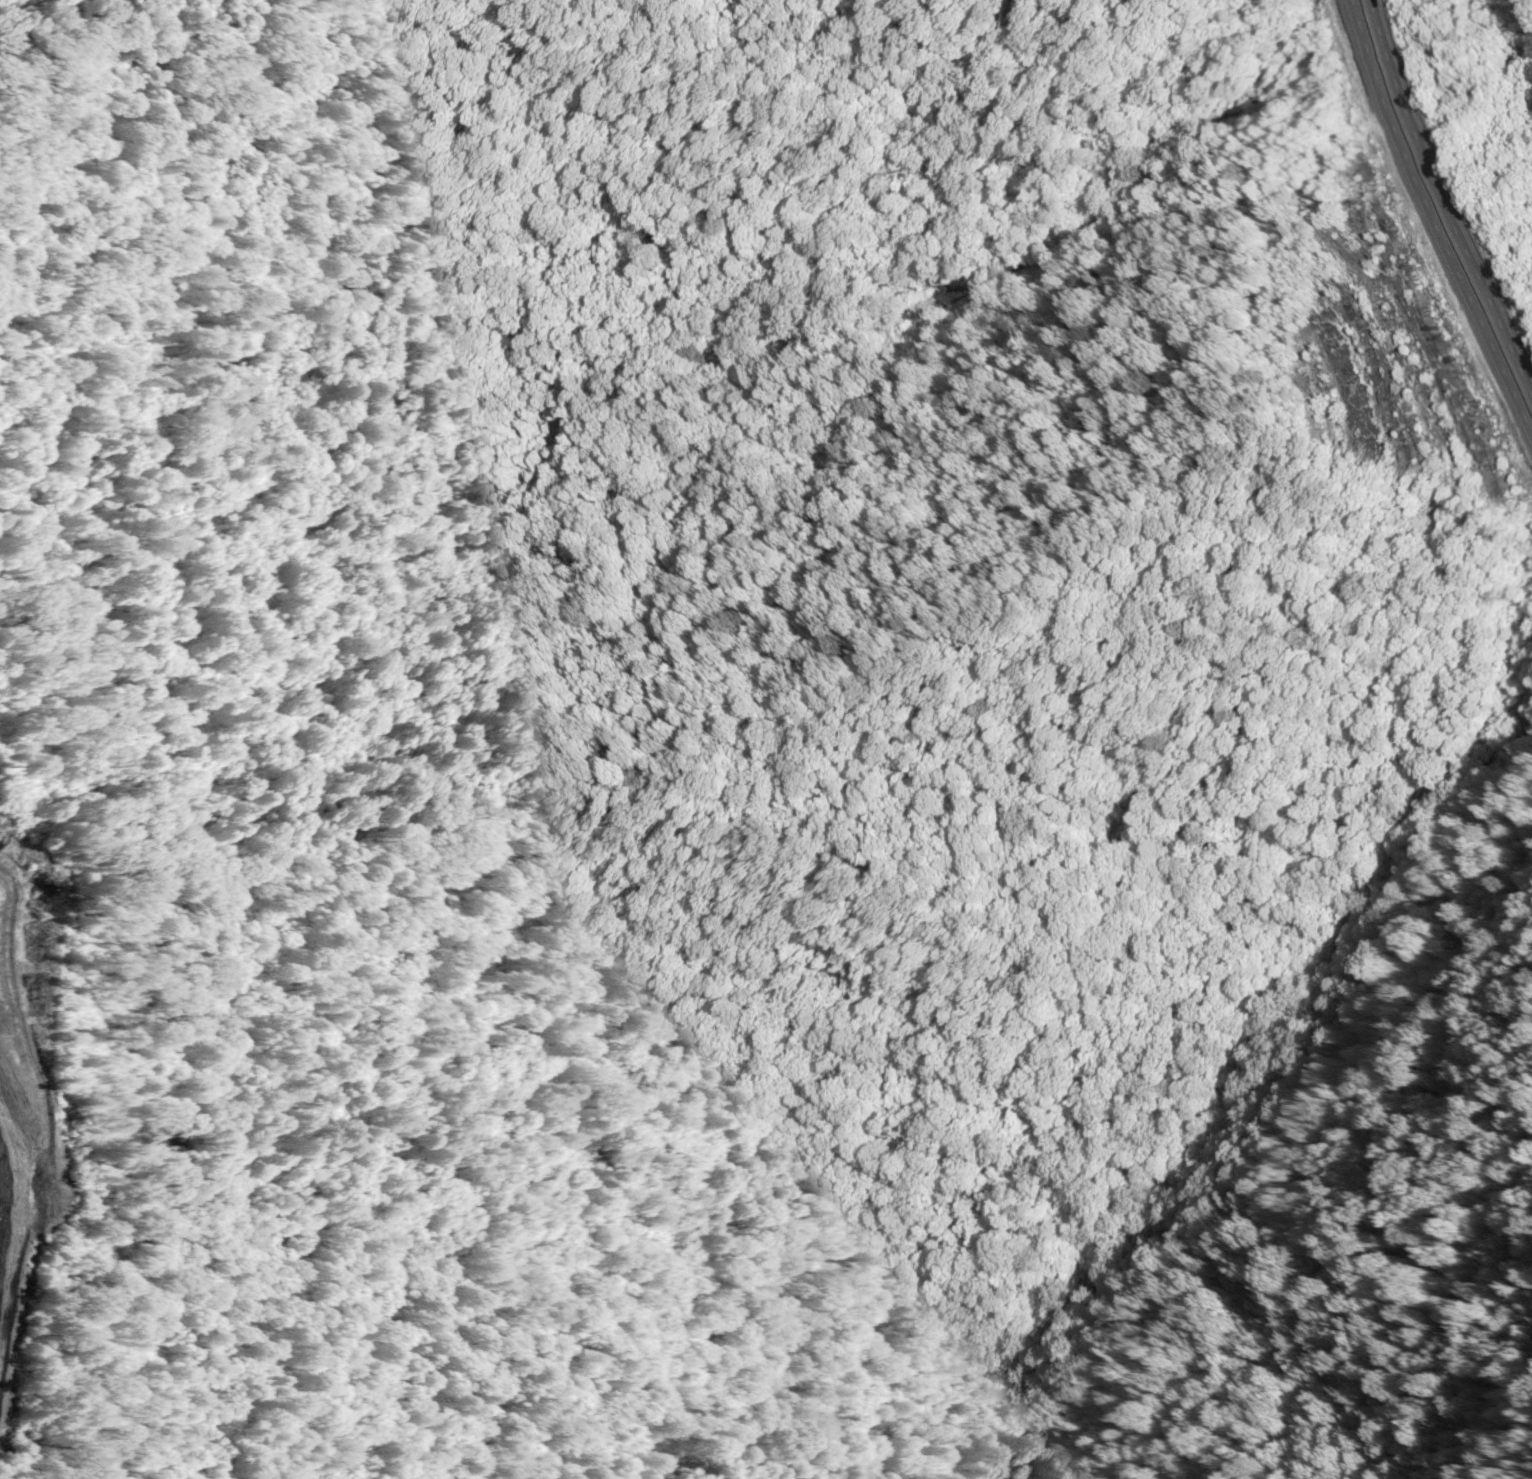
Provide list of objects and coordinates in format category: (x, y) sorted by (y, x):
road: (1445, 198)
road: (1432, 220)

